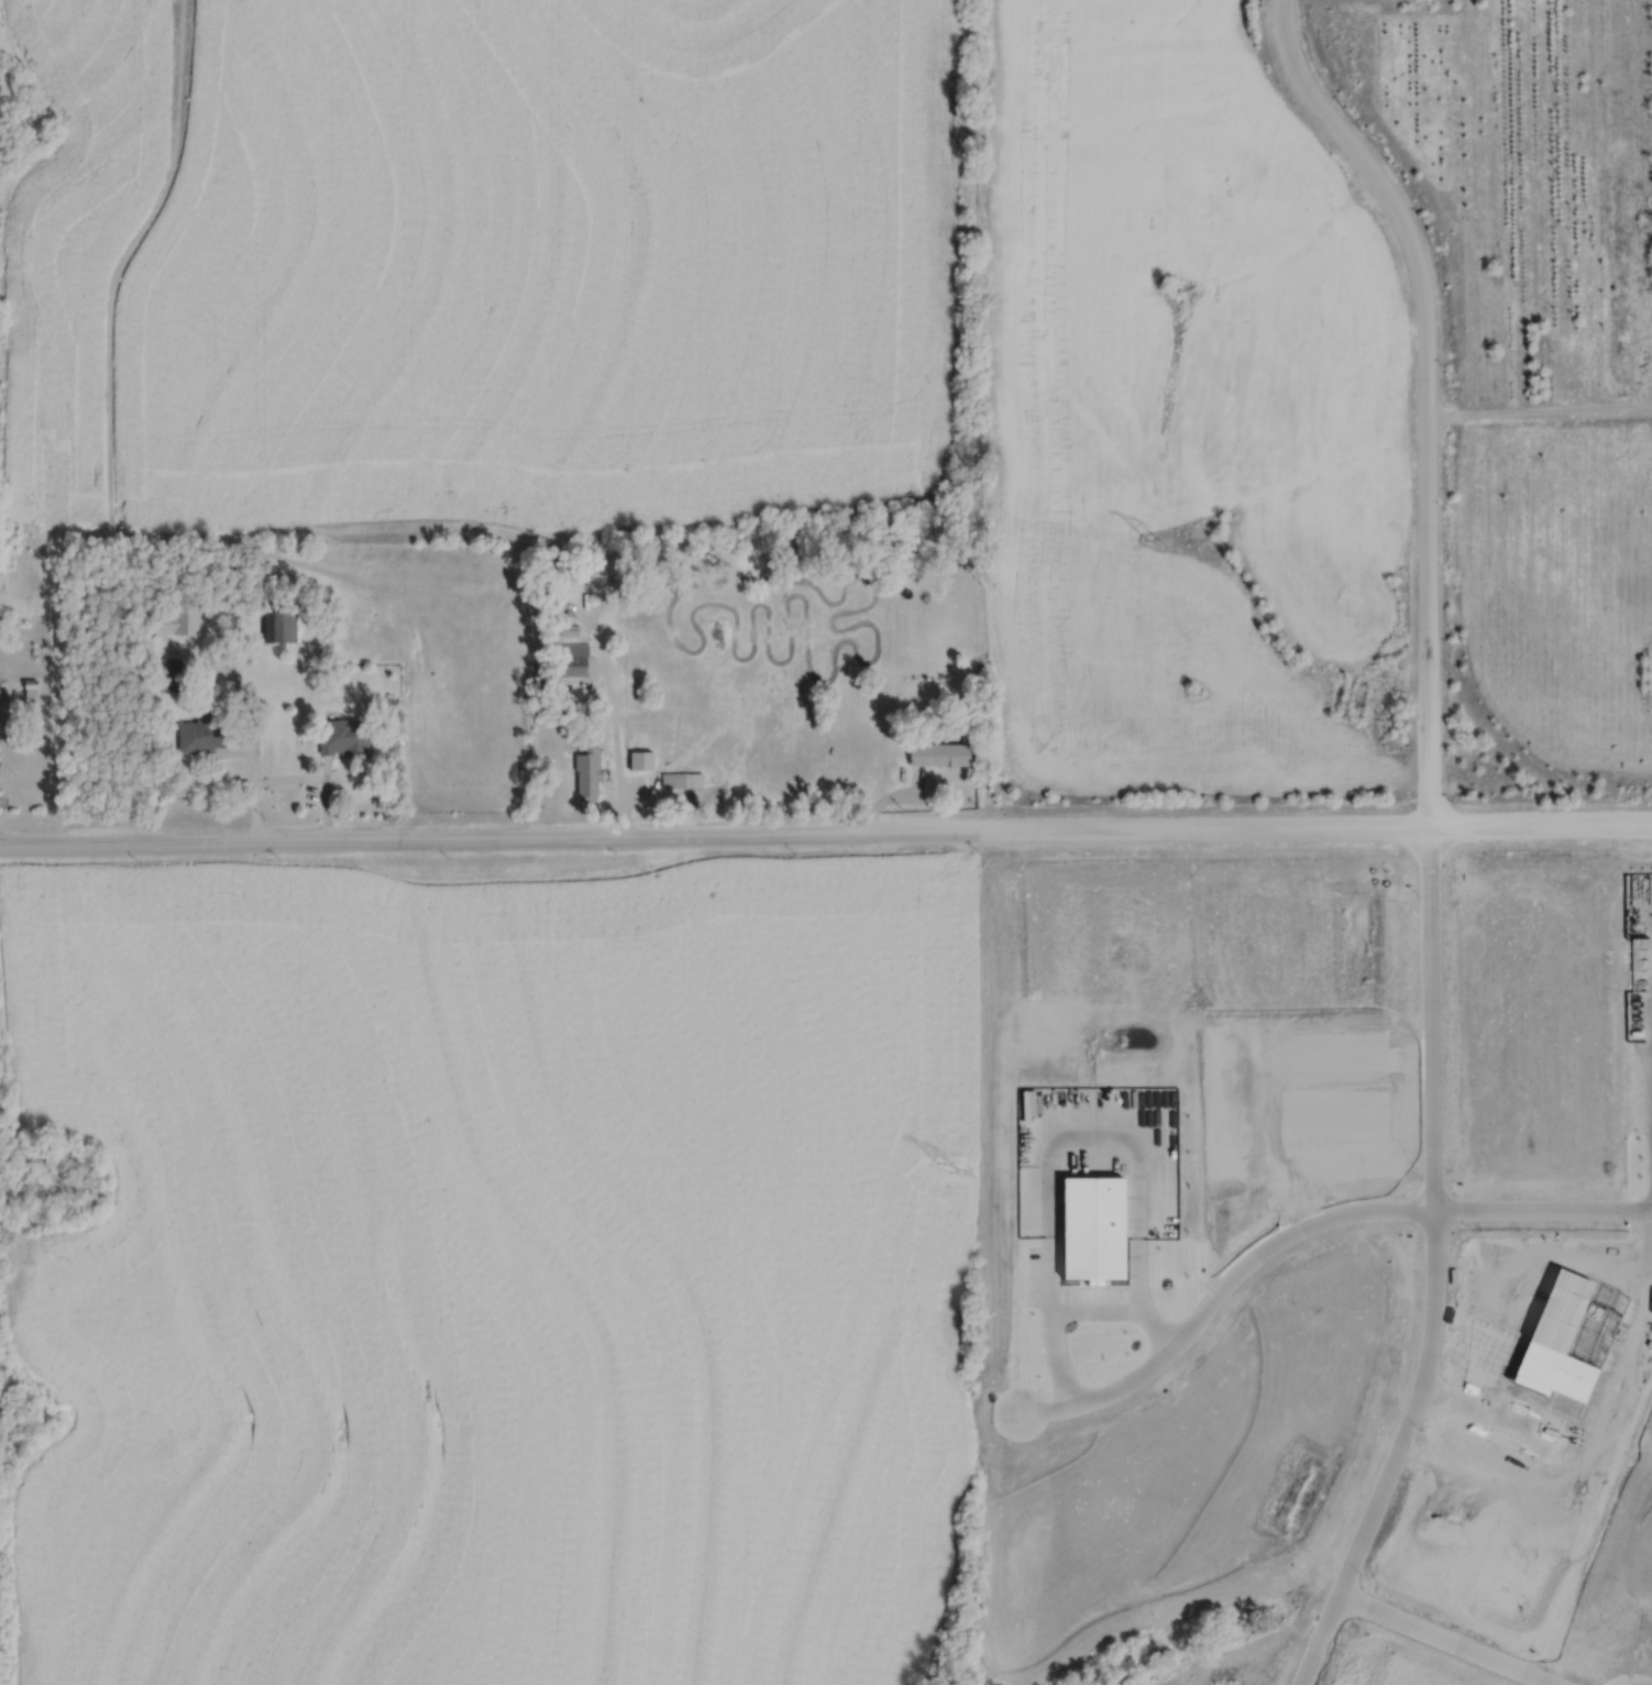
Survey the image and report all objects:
road: (1425, 393)
power tower: (1158, 538)
building: (295, 547)
building: (172, 619)
building: (278, 623)
building: (570, 659)
building: (167, 674)
building: (0, 692)
road: (13, 700)
road: (253, 733)
building: (199, 735)
building: (342, 742)
road: (615, 750)
building: (938, 755)
building: (587, 773)
building: (682, 780)
road: (826, 839)
power tower: (947, 1169)
road: (1541, 1204)
road: (1432, 1267)
road: (1213, 1293)
road: (1073, 1311)
road: (1450, 1638)

